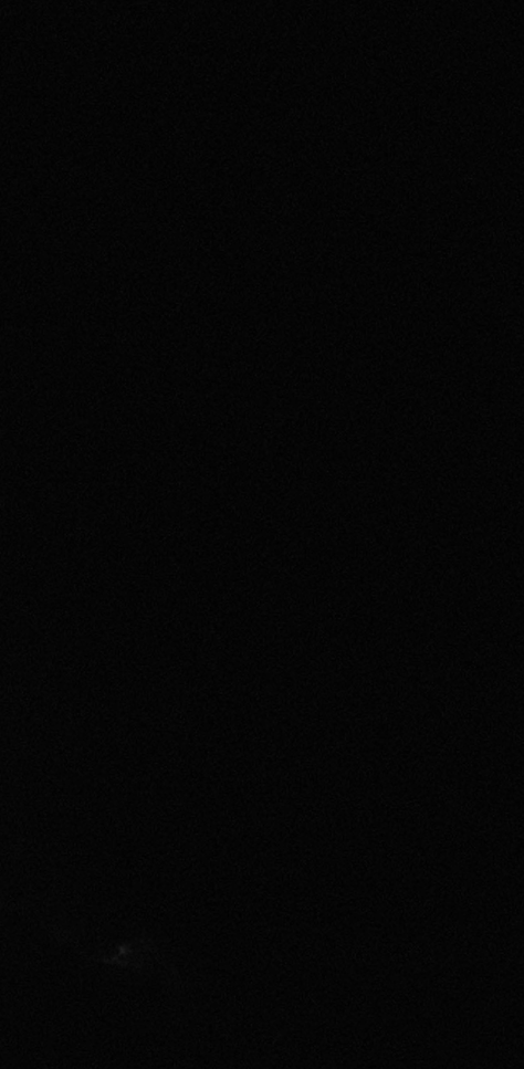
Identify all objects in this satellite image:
river: (262, 139)

